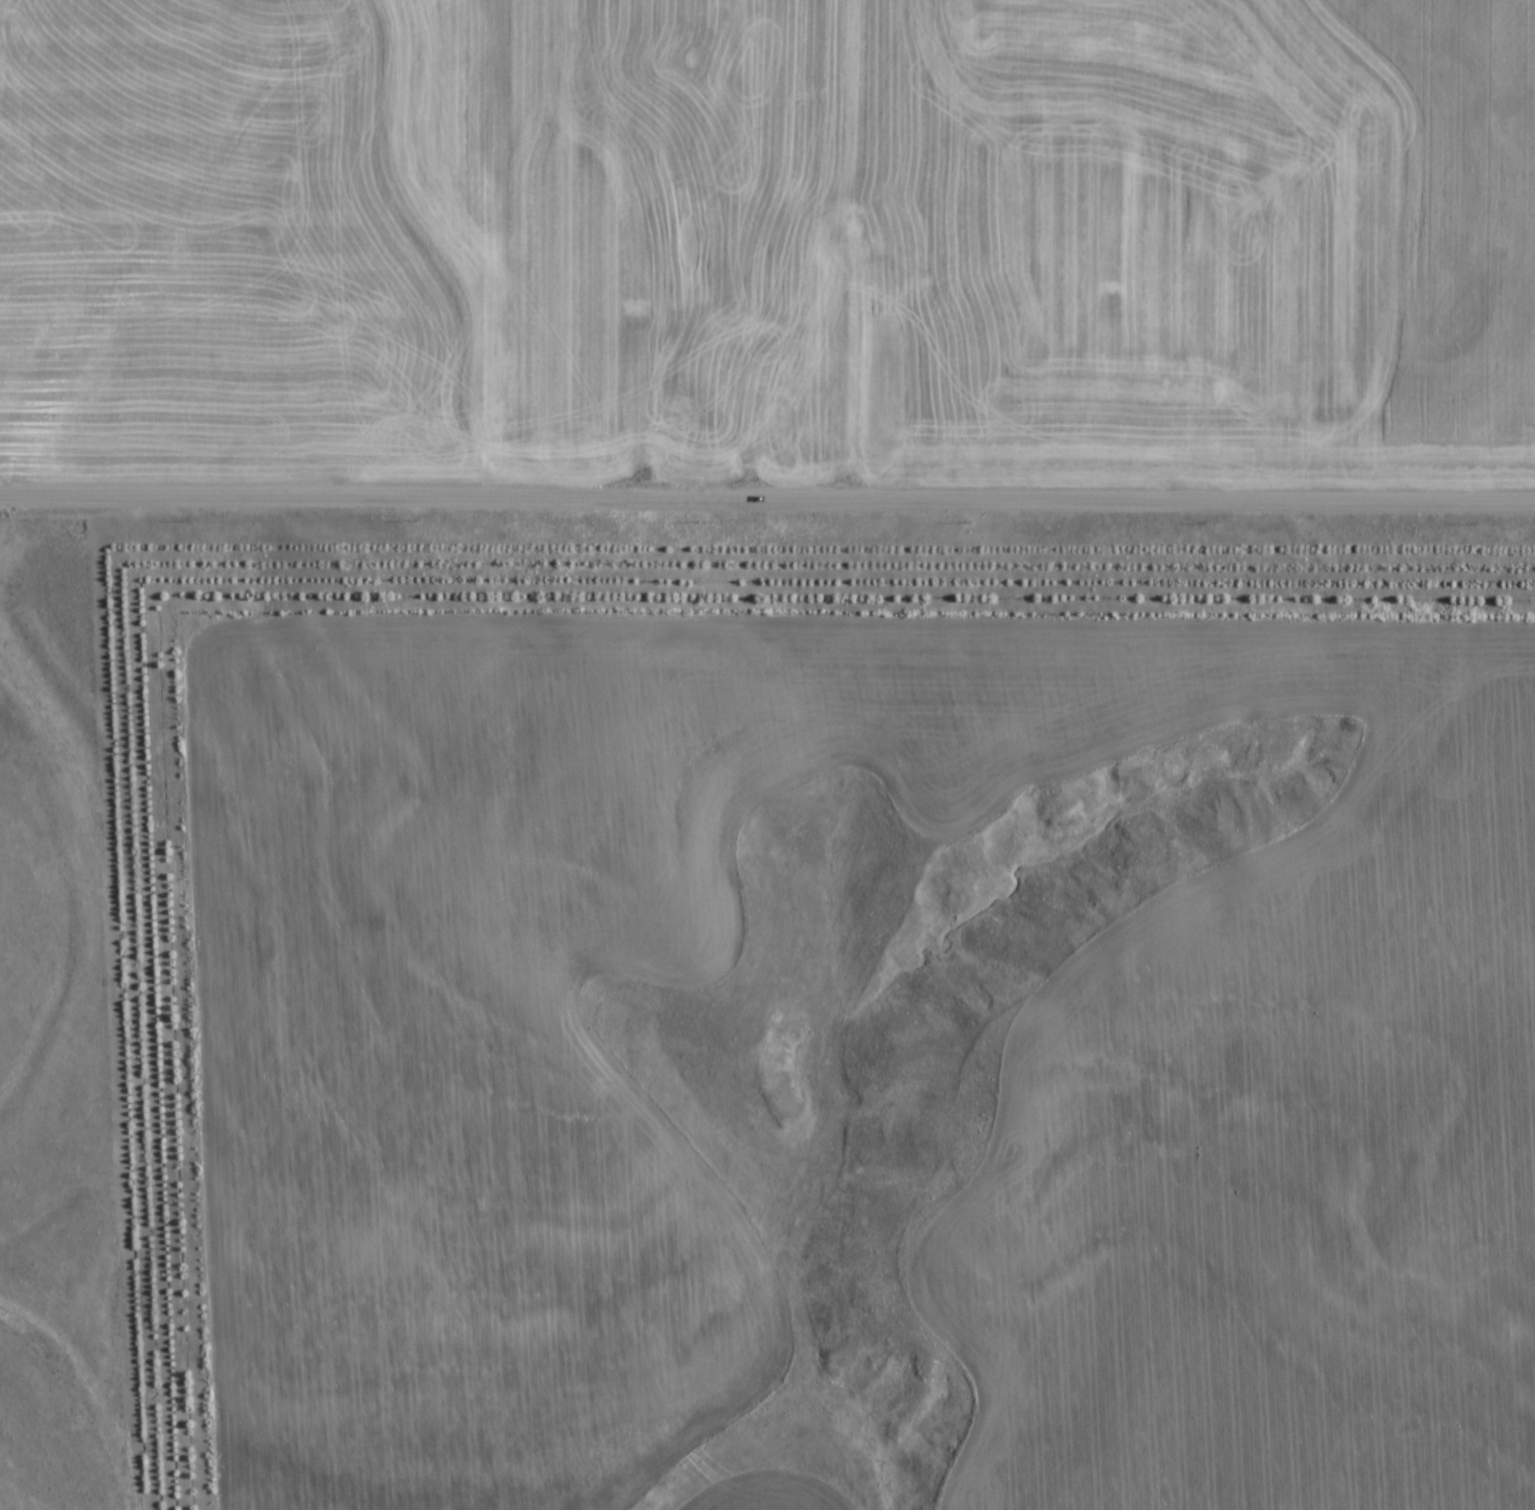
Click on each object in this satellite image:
road: (767, 497)

